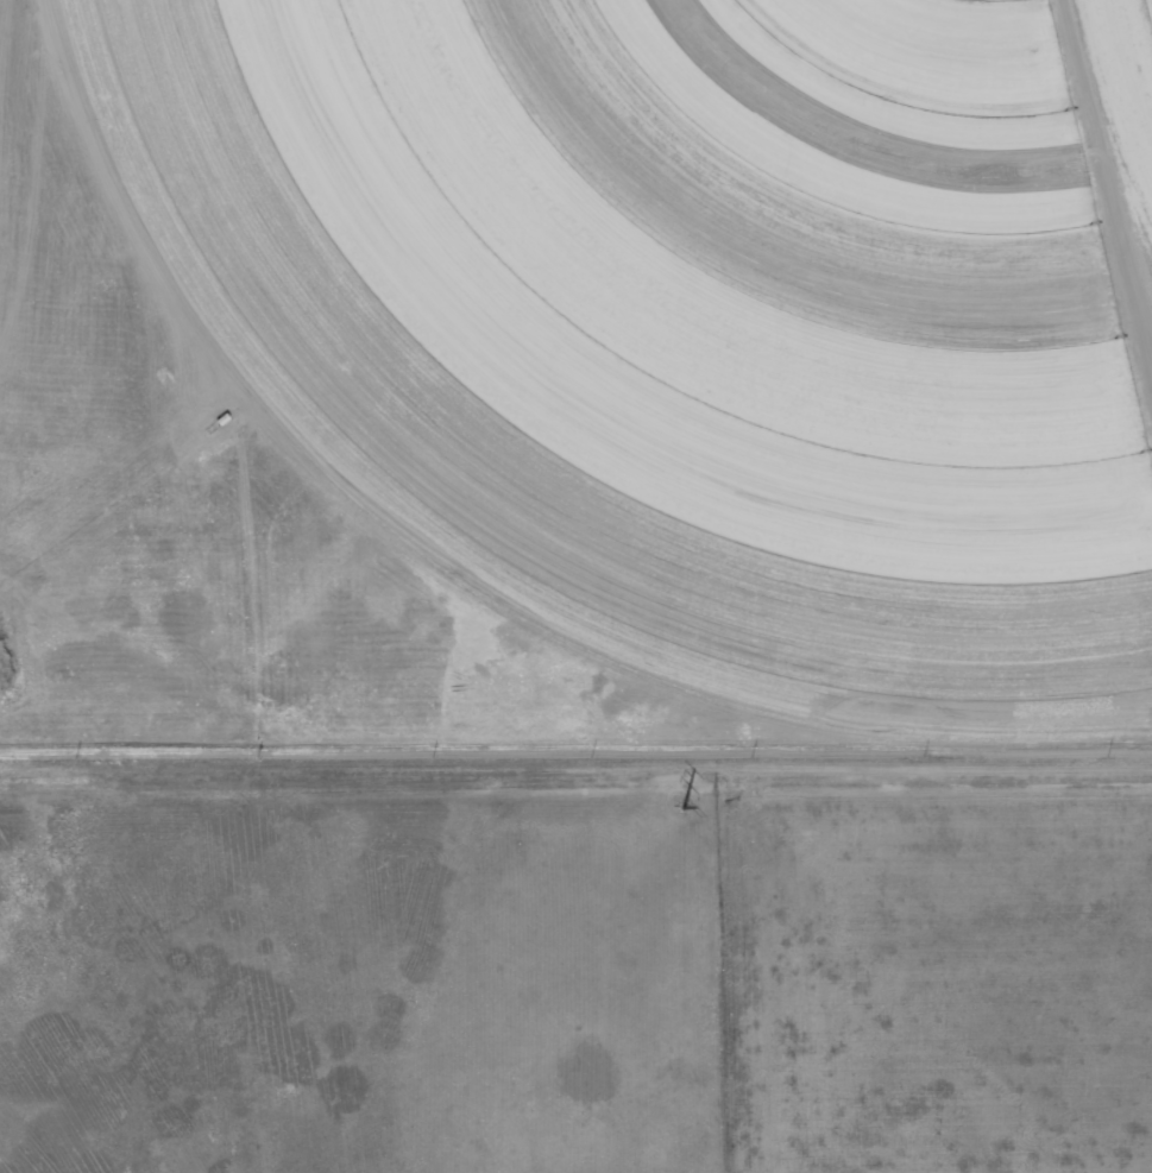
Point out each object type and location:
road: (575, 780)
power tower: (684, 806)

